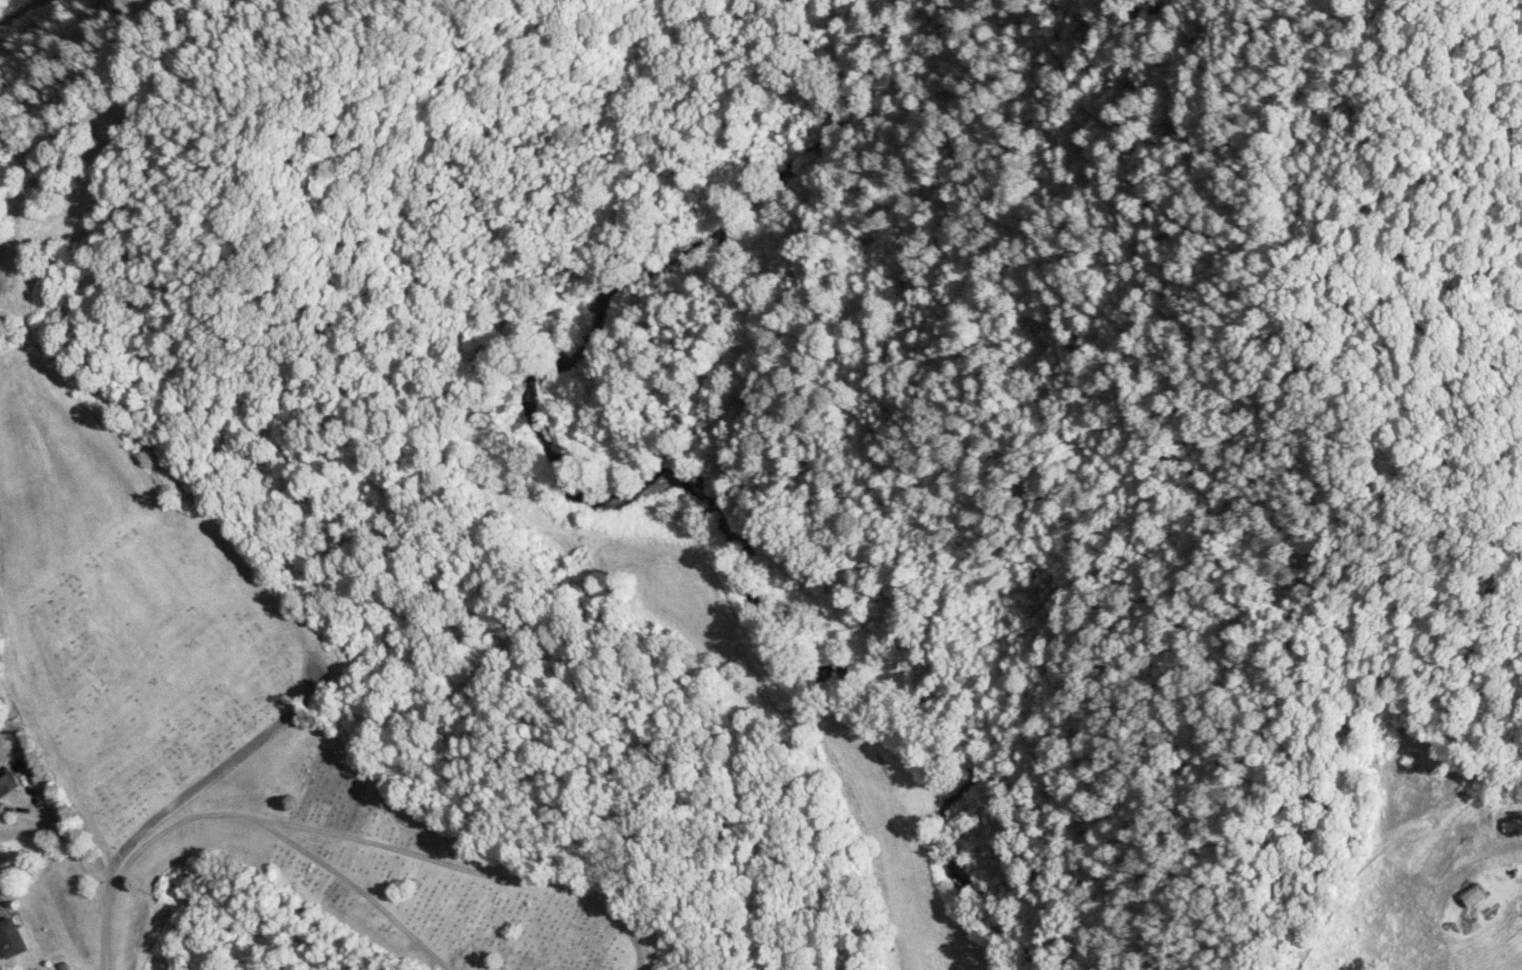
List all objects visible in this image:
road: (57, 37)
building: (7, 784)
road: (255, 822)
road: (455, 849)
road: (78, 853)
building: (1477, 896)
building: (13, 939)

